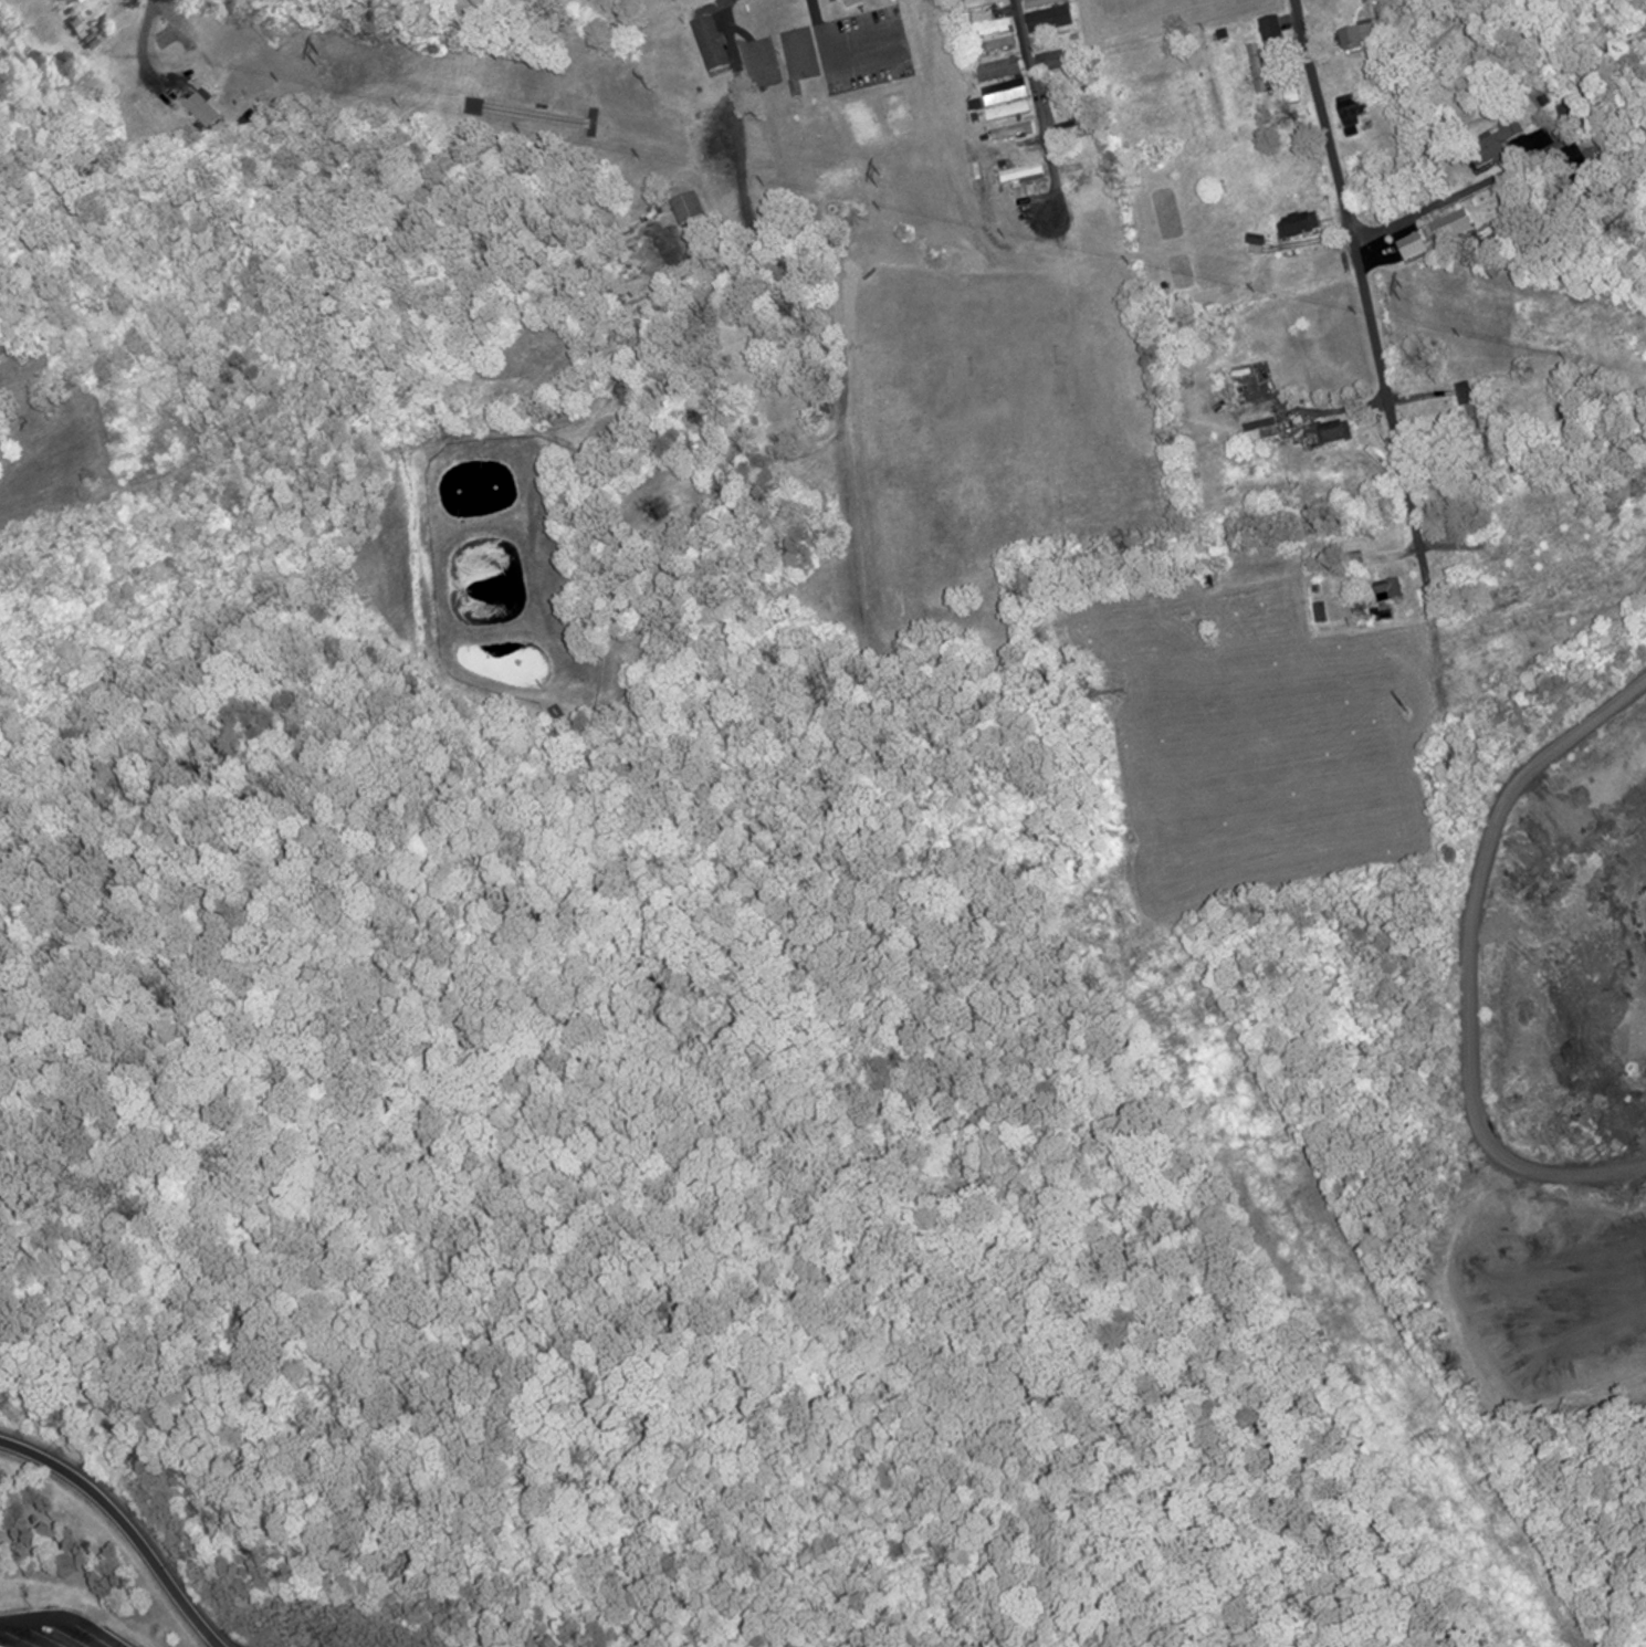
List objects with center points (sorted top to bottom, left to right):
road: (177, 22)
road: (827, 46)
power tower: (315, 57)
road: (1044, 96)
road: (747, 118)
road: (1500, 175)
power tower: (871, 178)
power tower: (1399, 292)
road: (1364, 295)
power tower: (1405, 709)
power tower: (1123, 920)
road: (1467, 975)
road: (1613, 1167)
power tower: (1429, 1445)
road: (125, 1524)
road: (65, 1616)
parking lot: (55, 1629)

